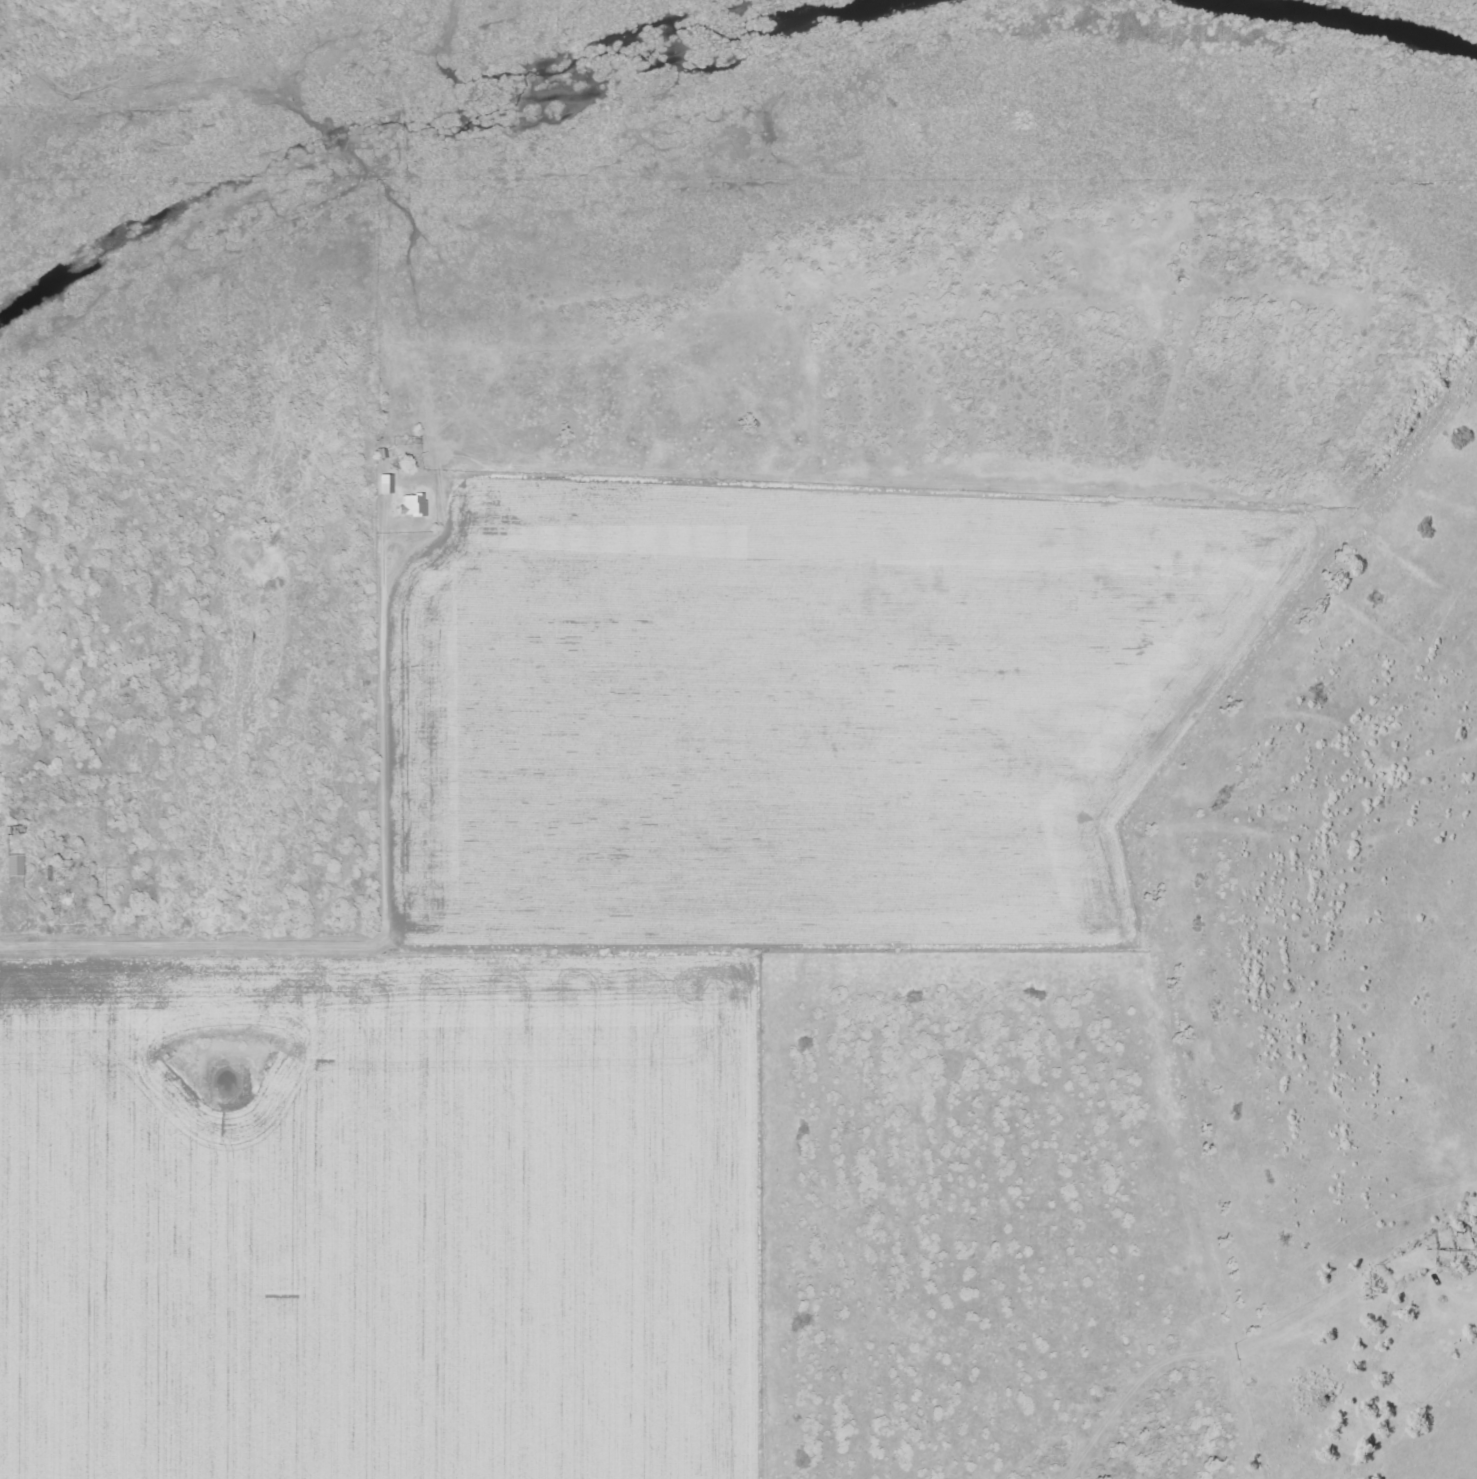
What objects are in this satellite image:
building: (386, 484)
building: (413, 505)
building: (15, 866)
building: (64, 871)
road: (374, 941)

